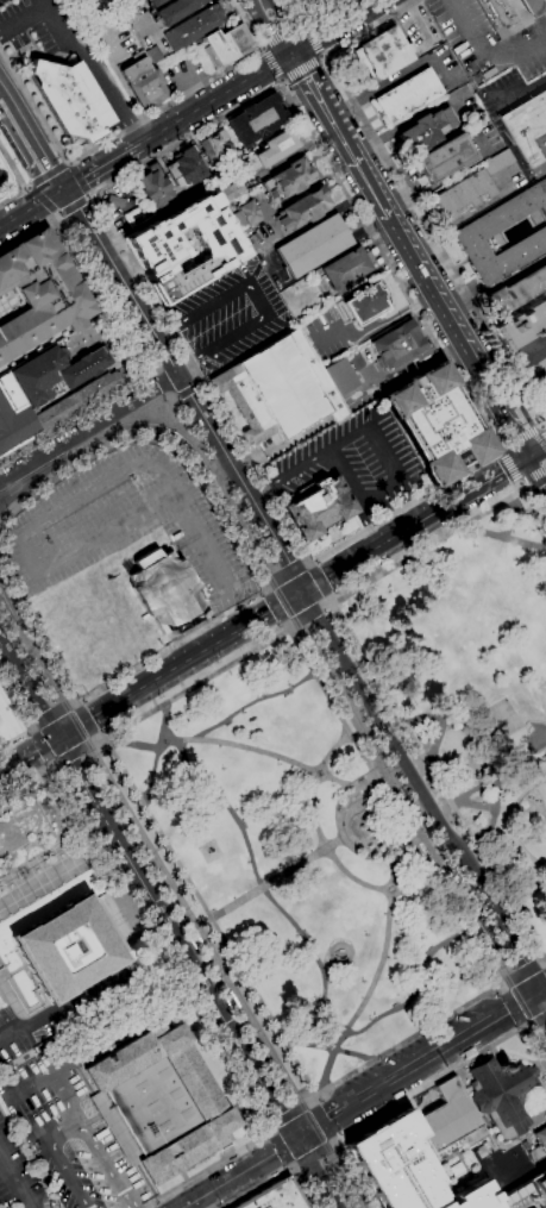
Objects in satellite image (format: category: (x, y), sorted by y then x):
building: (108, 0)
building: (113, 0)
building: (155, 2)
building: (309, 5)
building: (176, 10)
building: (506, 14)
road: (312, 18)
road: (21, 19)
road: (303, 24)
road: (276, 26)
road: (335, 26)
parking lot: (42, 27)
building: (194, 27)
road: (283, 35)
road: (312, 40)
building: (226, 45)
road: (263, 45)
road: (263, 48)
building: (384, 52)
traffic signals: (293, 54)
road: (484, 55)
road: (321, 56)
road: (274, 64)
road: (92, 68)
road: (302, 69)
road: (283, 80)
building: (143, 81)
road: (390, 81)
road: (187, 92)
road: (2, 93)
building: (408, 95)
road: (215, 98)
building: (70, 99)
road: (36, 106)
building: (256, 120)
building: (426, 130)
building: (528, 131)
road: (339, 136)
road: (33, 144)
building: (218, 148)
building: (272, 149)
building: (445, 157)
building: (497, 162)
road: (15, 164)
road: (100, 165)
building: (184, 168)
road: (333, 168)
road: (49, 173)
building: (0, 175)
road: (80, 177)
road: (447, 177)
building: (289, 179)
building: (155, 187)
traffic signals: (63, 189)
building: (232, 190)
road: (15, 193)
road: (404, 193)
building: (463, 195)
road: (43, 200)
building: (115, 201)
road: (75, 205)
road: (31, 208)
building: (302, 208)
building: (246, 214)
building: (140, 215)
building: (481, 229)
road: (32, 231)
building: (313, 245)
building: (153, 248)
building: (344, 269)
building: (517, 290)
building: (39, 293)
building: (365, 305)
building: (522, 327)
road: (452, 331)
building: (398, 346)
building: (533, 351)
road: (196, 352)
road: (153, 367)
road: (157, 371)
building: (56, 373)
building: (340, 376)
road: (163, 382)
road: (200, 382)
road: (184, 388)
road: (186, 388)
building: (280, 388)
road: (171, 396)
road: (175, 398)
building: (79, 399)
flagpole: (224, 401)
road: (172, 411)
road: (230, 412)
building: (14, 418)
building: (437, 424)
road: (541, 426)
road: (87, 430)
road: (354, 431)
road: (544, 431)
road: (169, 433)
road: (521, 439)
road: (532, 445)
road: (500, 451)
road: (521, 451)
road: (535, 453)
road: (510, 467)
road: (544, 469)
road: (255, 470)
traffic signals: (502, 474)
road: (532, 476)
road: (535, 476)
road: (216, 478)
railway: (30, 483)
traffic signals: (541, 486)
road: (519, 488)
road: (226, 490)
road: (470, 492)
road: (357, 494)
building: (319, 508)
road: (510, 515)
road: (188, 524)
road: (24, 534)
road: (448, 534)
road: (503, 537)
flagpole: (314, 547)
road: (358, 558)
road: (307, 564)
road: (310, 564)
road: (288, 576)
road: (320, 580)
road: (269, 588)
building: (167, 590)
road: (268, 590)
road: (262, 592)
traffic signals: (302, 593)
road: (331, 597)
road: (224, 599)
railway: (7, 601)
road: (276, 605)
road: (327, 605)
road: (268, 613)
road: (308, 616)
road: (287, 624)
road: (291, 626)
railway: (314, 649)
road: (30, 664)
road: (146, 687)
road: (29, 688)
road: (255, 701)
road: (356, 703)
road: (74, 705)
road: (77, 705)
road: (27, 715)
road: (54, 715)
road: (87, 718)
road: (36, 726)
road: (36, 730)
road: (100, 734)
road: (437, 738)
traffic signals: (58, 739)
road: (98, 740)
road: (44, 744)
road: (238, 745)
road: (111, 749)
road: (75, 752)
road: (157, 752)
road: (479, 753)
road: (29, 756)
road: (55, 761)
road: (58, 763)
road: (75, 766)
road: (441, 781)
road: (420, 790)
road: (470, 791)
park: (371, 796)
road: (349, 807)
road: (498, 809)
road: (121, 818)
road: (508, 821)
road: (390, 845)
park: (43, 852)
road: (330, 853)
road: (269, 883)
railway: (181, 900)
building: (68, 947)
road: (314, 954)
railway: (513, 962)
road: (541, 962)
road: (545, 962)
road: (193, 966)
road: (513, 970)
road: (522, 974)
road: (376, 978)
road: (496, 978)
road: (184, 983)
road: (503, 984)
road: (541, 988)
road: (502, 990)
traffic signals: (536, 991)
road: (541, 999)
building: (0, 1003)
building: (0, 1007)
road: (510, 1008)
road: (52, 1016)
parking lot: (63, 1018)
road: (197, 1018)
road: (538, 1021)
road: (544, 1021)
road: (523, 1025)
road: (528, 1027)
road: (331, 1047)
road: (516, 1056)
road: (414, 1063)
road: (50, 1079)
railway: (288, 1091)
road: (414, 1094)
building: (504, 1095)
building: (158, 1102)
road: (290, 1102)
road: (246, 1103)
road: (309, 1103)
road: (313, 1103)
road: (68, 1112)
road: (389, 1113)
road: (289, 1114)
parking lot: (75, 1118)
building: (451, 1118)
road: (324, 1120)
road: (271, 1126)
road: (272, 1133)
flagpole: (244, 1134)
road: (334, 1138)
building: (541, 1138)
traffic signals: (294, 1139)
road: (333, 1144)
road: (281, 1147)
road: (228, 1153)
building: (538, 1153)
road: (314, 1156)
road: (192, 1164)
road: (291, 1165)
road: (295, 1166)
building: (403, 1168)
building: (452, 1168)
road: (312, 1170)
road: (237, 1172)
parking lot: (19, 1173)
road: (521, 1175)
road: (278, 1177)
road: (337, 1179)
road: (14, 1183)
building: (540, 1184)
building: (276, 1196)
road: (332, 1206)
road: (136, 1207)

